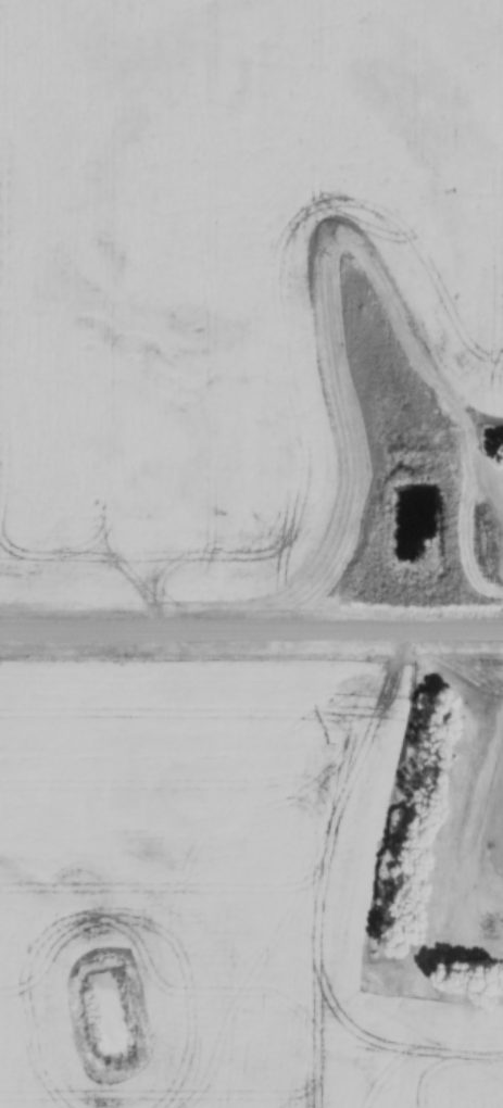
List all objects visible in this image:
road: (251, 633)

